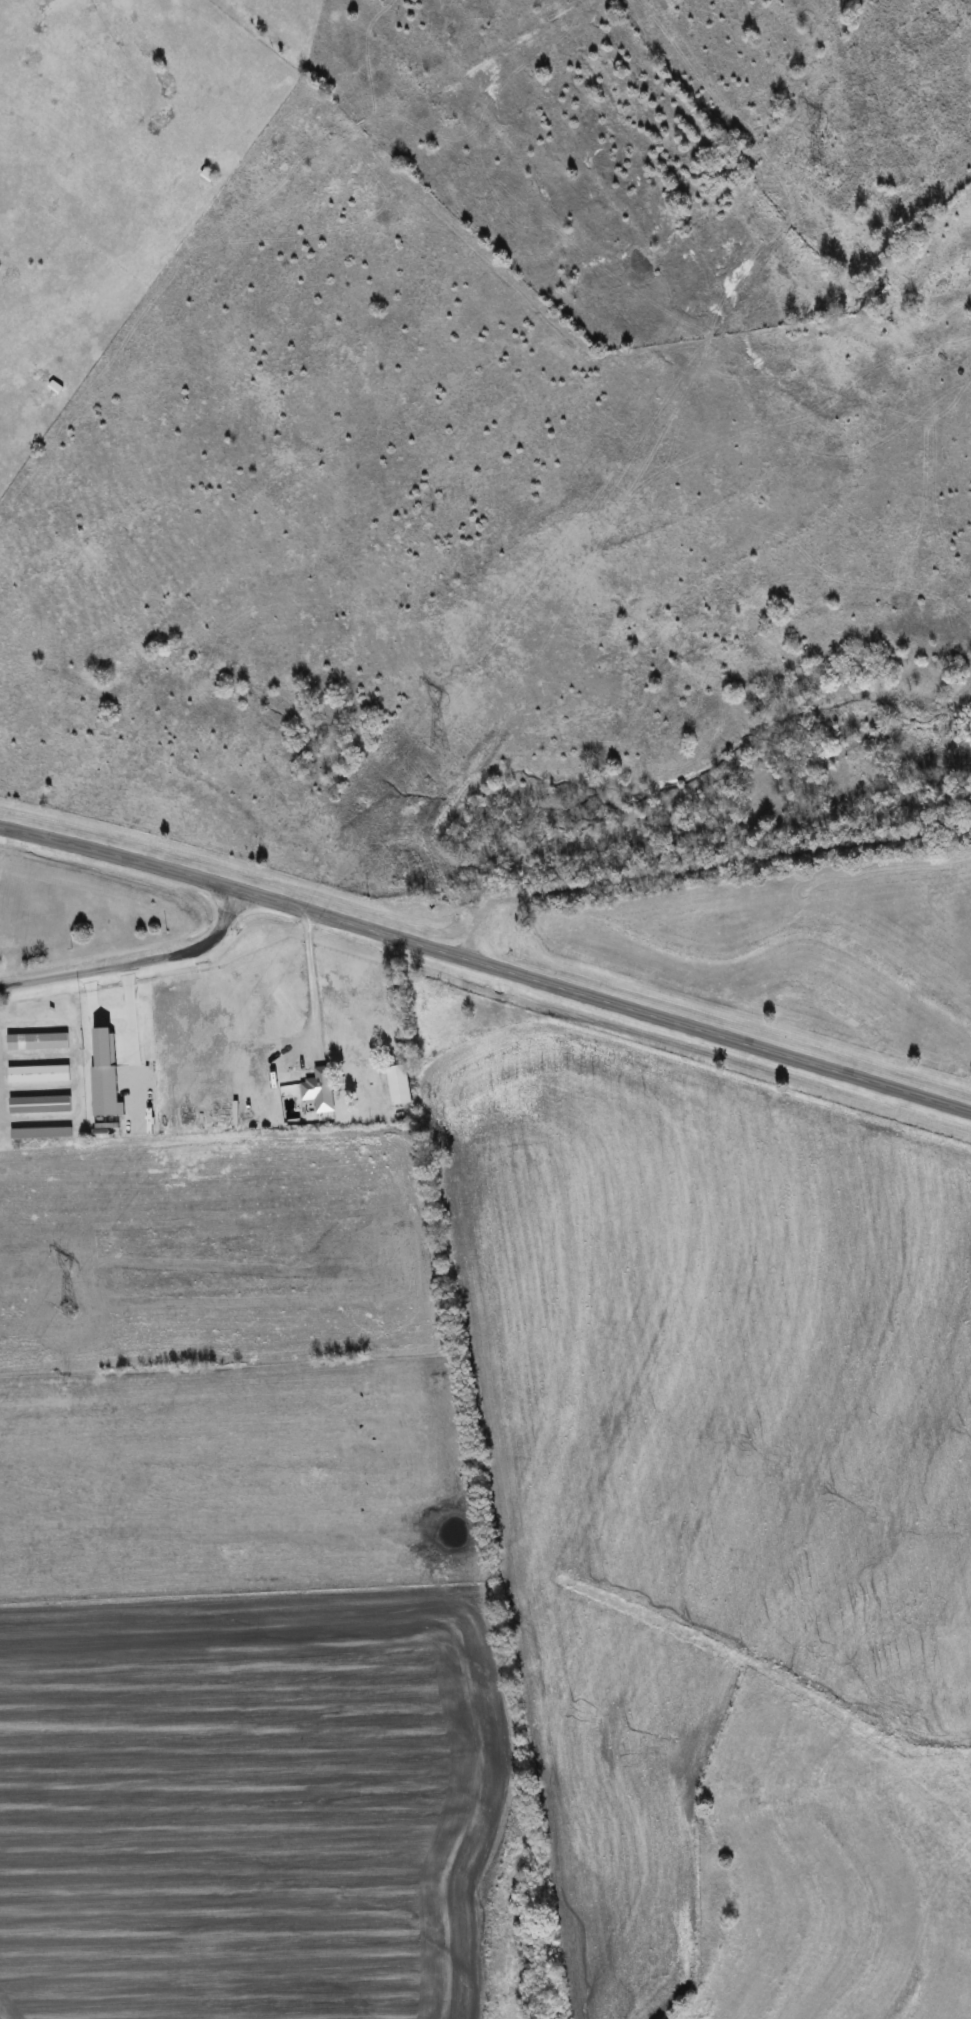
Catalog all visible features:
power tower: (819, 173)
power tower: (440, 748)
road: (699, 870)
road: (132, 959)
road: (487, 966)
road: (319, 981)
road: (91, 1004)
road: (130, 1036)
building: (37, 1040)
building: (39, 1073)
building: (399, 1084)
building: (319, 1089)
building: (105, 1096)
building: (39, 1104)
building: (41, 1132)
power tower: (68, 1307)

